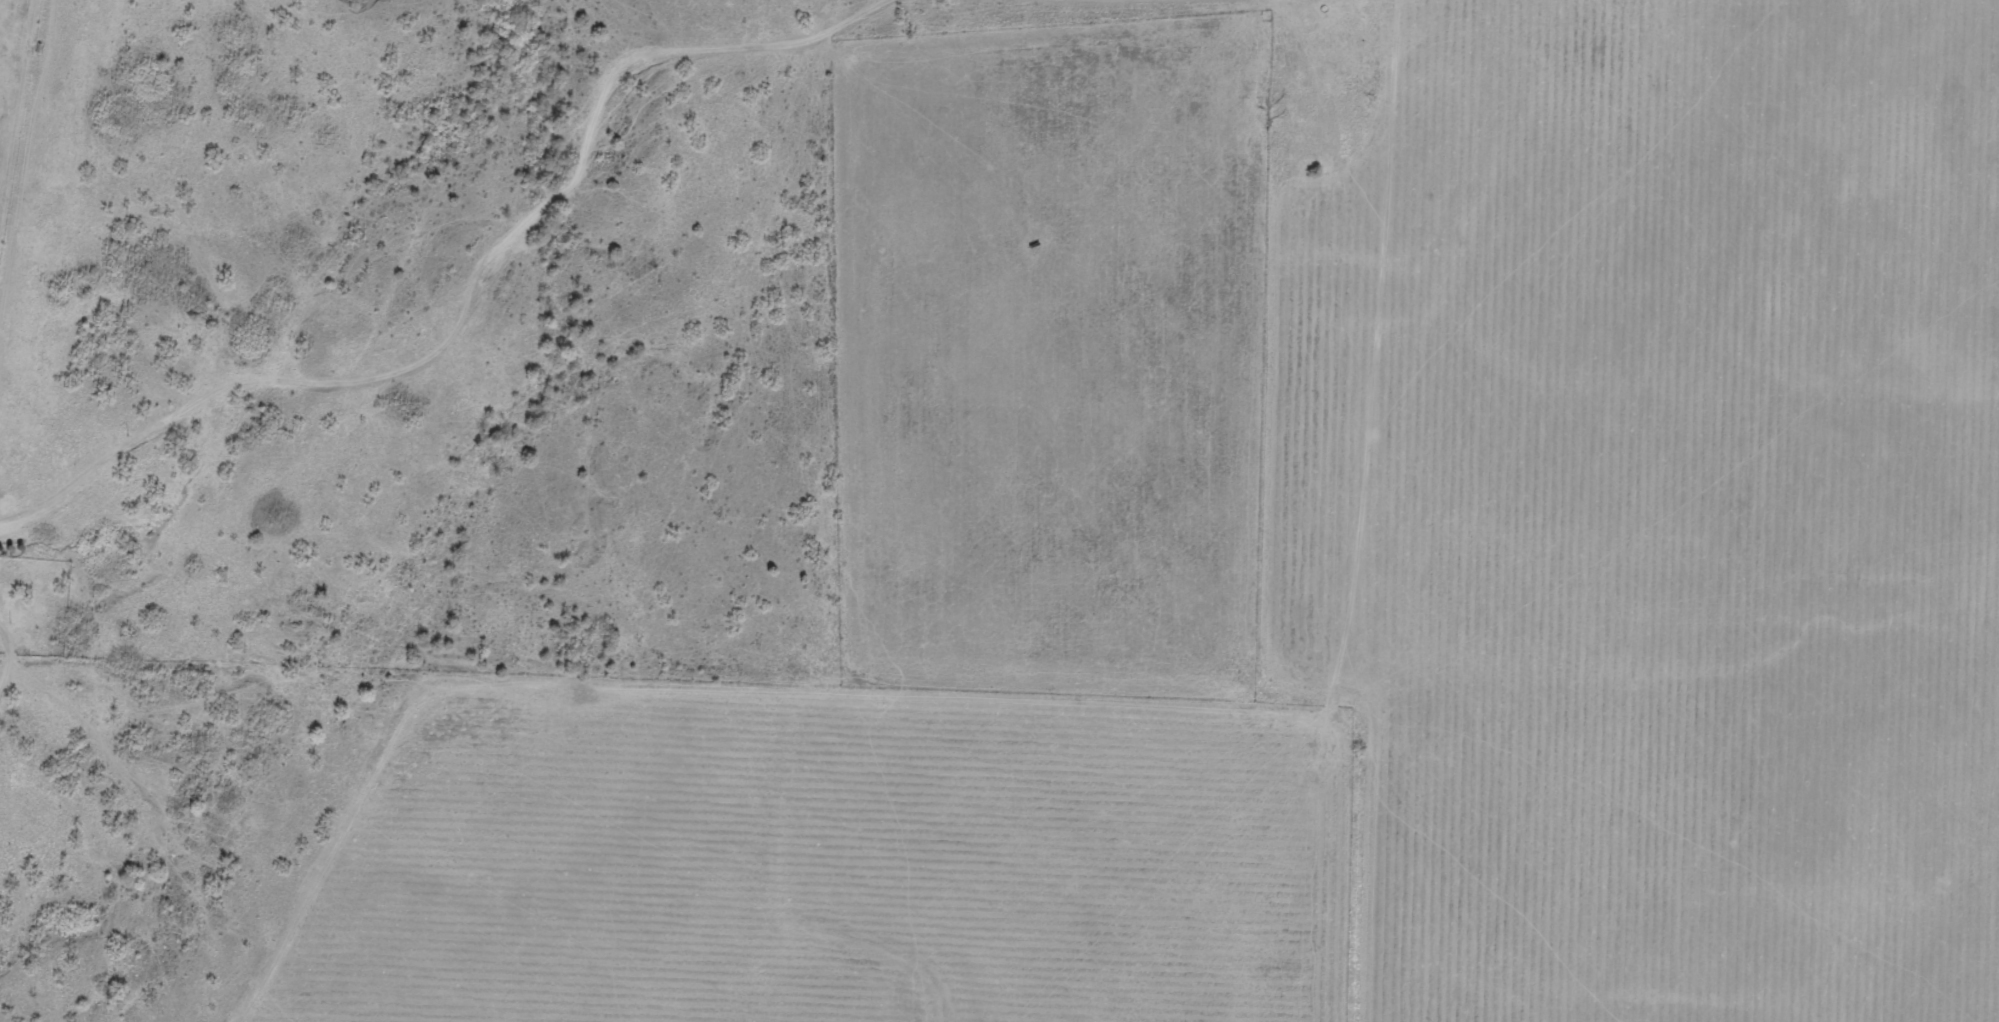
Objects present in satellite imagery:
road: (478, 279)
road: (1274, 509)

